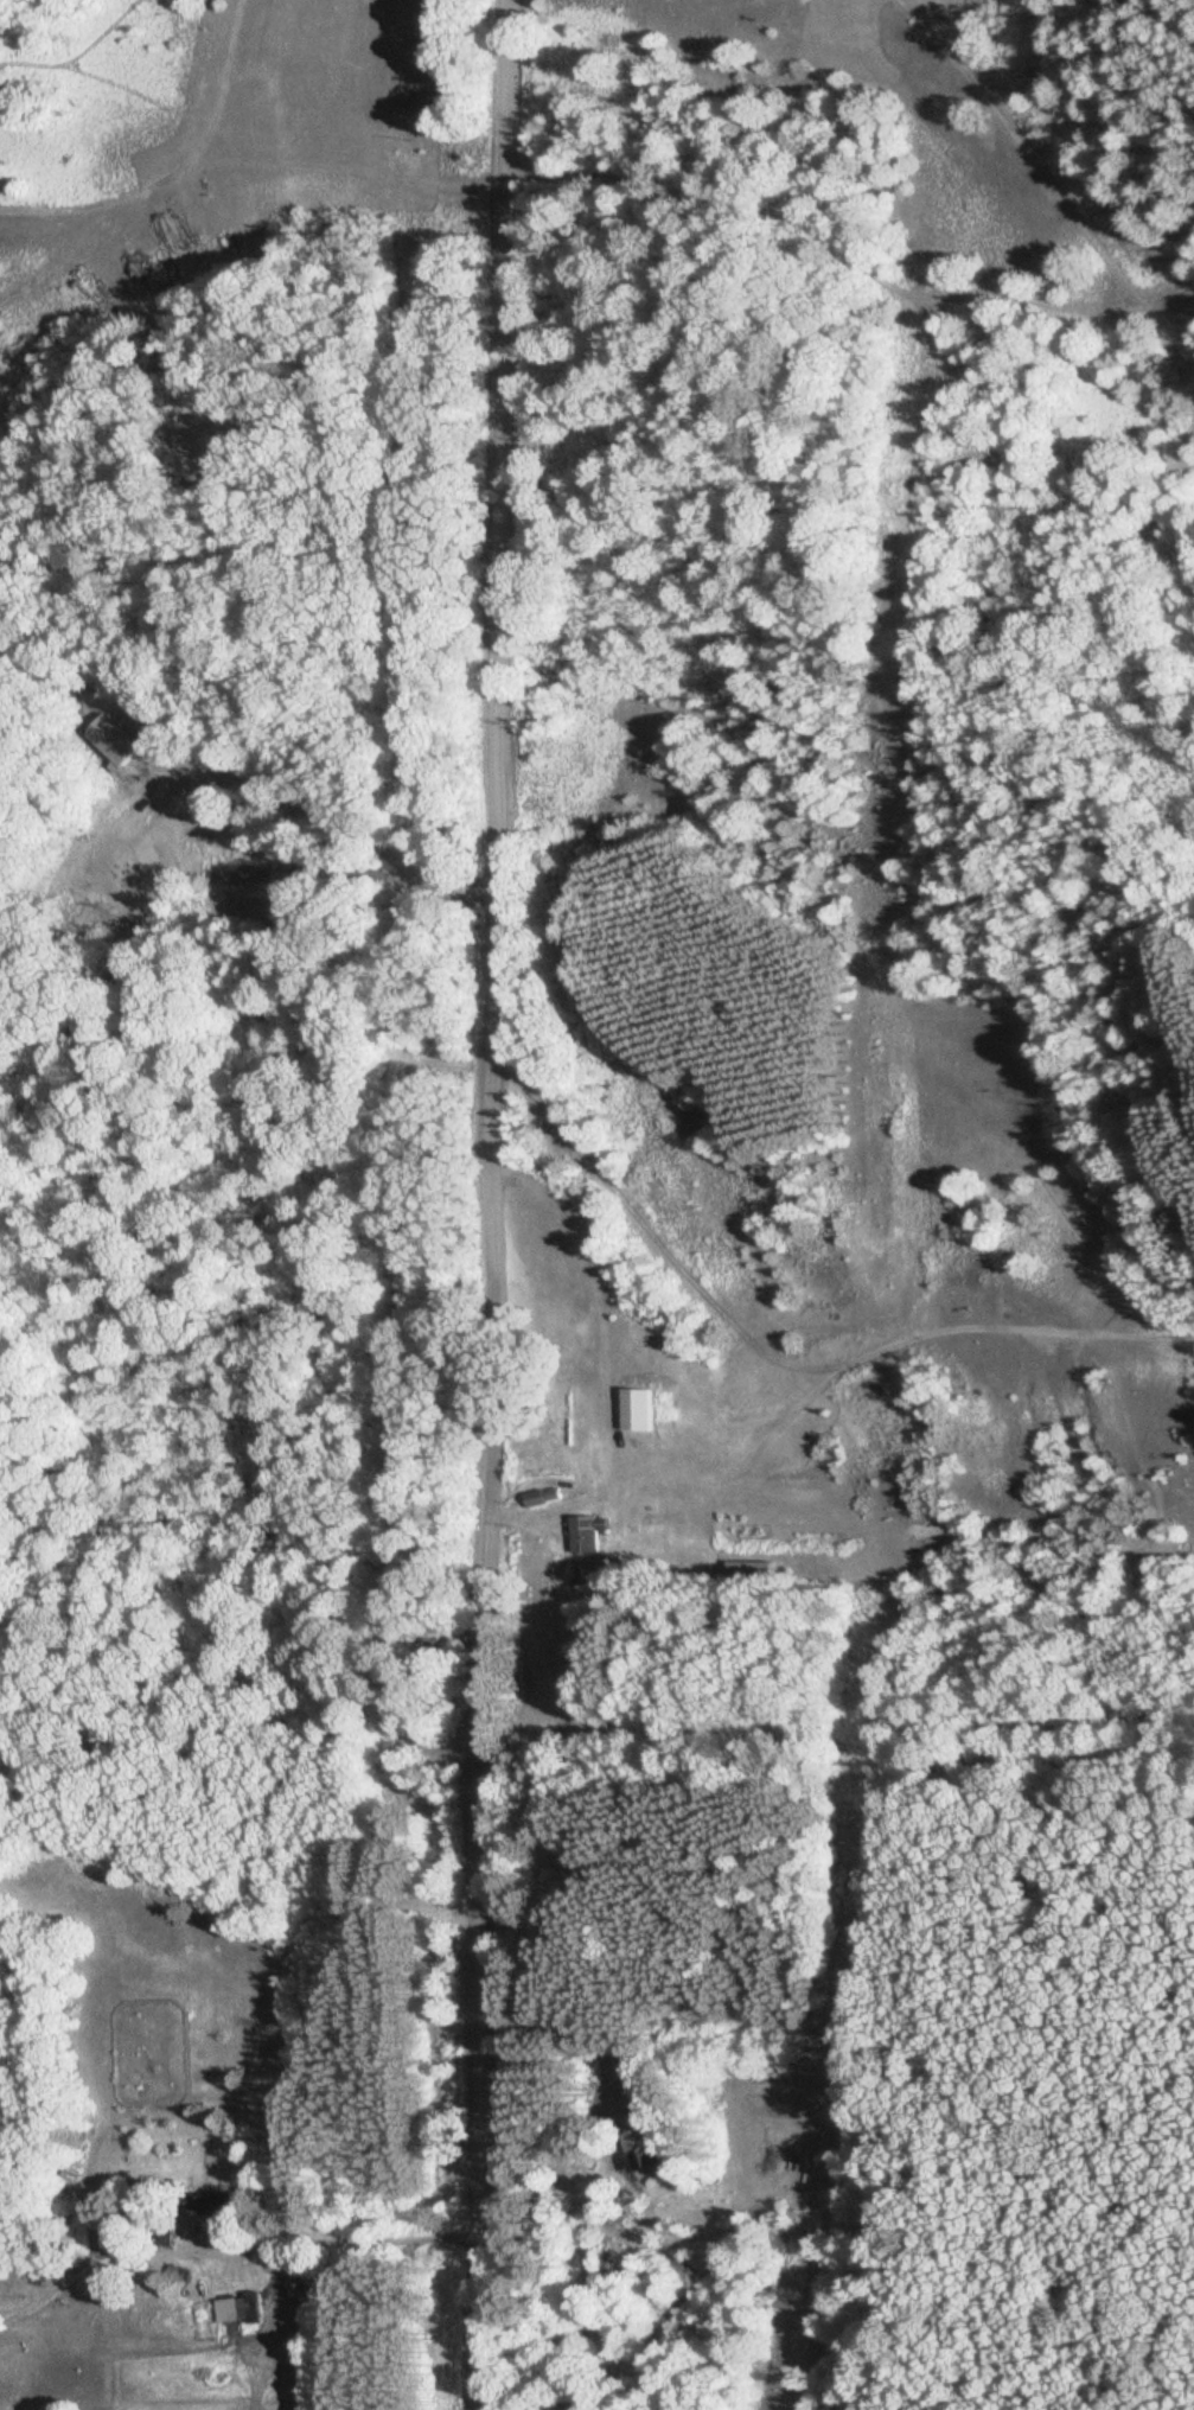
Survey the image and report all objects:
road: (492, 1205)
building: (641, 1410)
building: (545, 1497)
building: (657, 1517)
building: (590, 1534)
building: (626, 2066)
building: (656, 2142)
building: (217, 2202)
road: (275, 2237)
building: (181, 2271)
building: (256, 2307)
building: (232, 2309)

